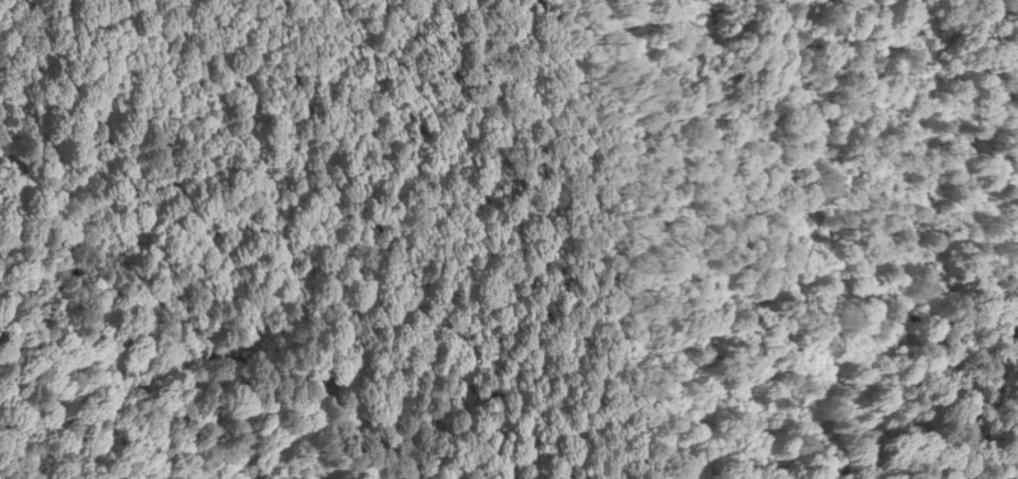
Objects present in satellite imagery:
road: (892, 262)

